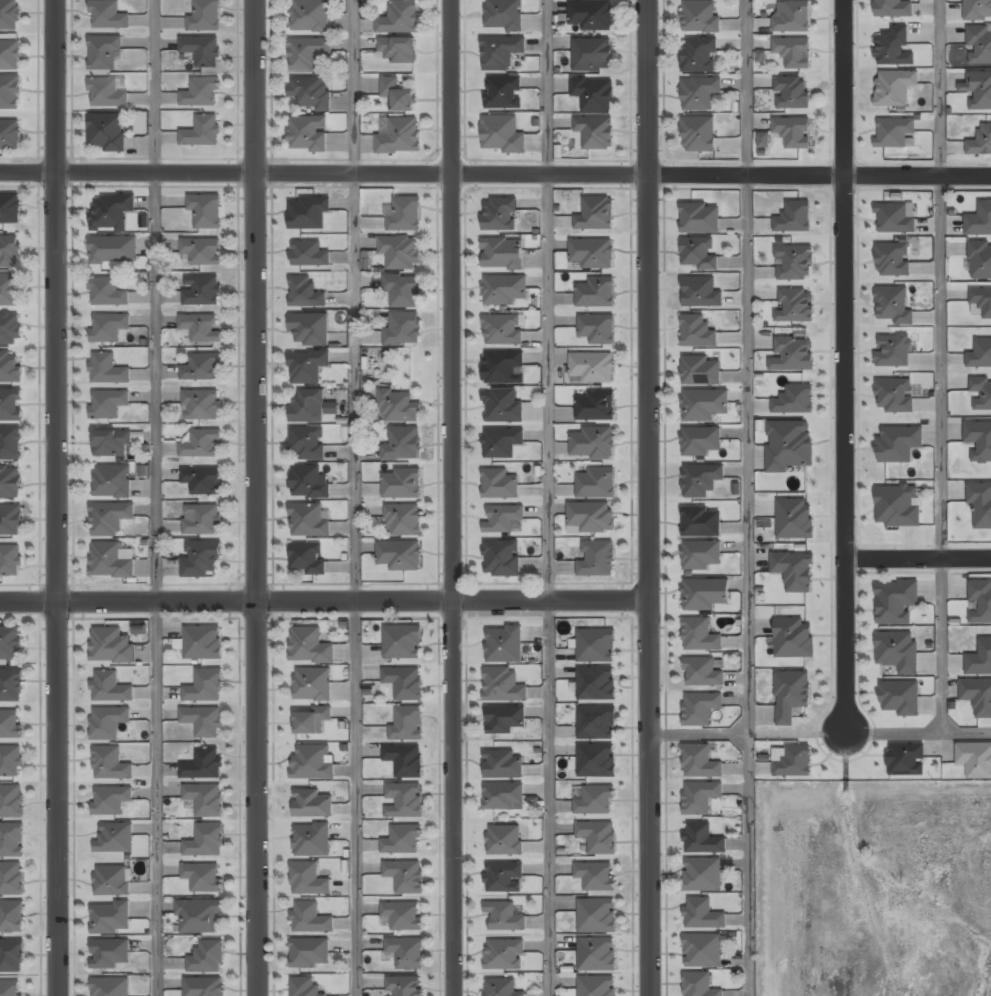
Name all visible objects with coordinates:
building: (893, 9)
building: (977, 9)
building: (9, 15)
building: (108, 15)
building: (508, 15)
building: (591, 15)
building: (206, 16)
building: (310, 16)
building: (699, 17)
building: (792, 17)
building: (400, 19)
building: (979, 45)
building: (893, 48)
building: (202, 50)
building: (398, 50)
building: (507, 52)
building: (793, 52)
building: (308, 54)
building: (593, 54)
building: (10, 55)
building: (698, 56)
building: (102, 62)
building: (894, 88)
building: (978, 90)
building: (201, 92)
building: (10, 93)
building: (311, 93)
building: (508, 93)
building: (593, 93)
building: (698, 93)
building: (791, 93)
building: (106, 94)
building: (397, 94)
building: (142, 123)
building: (202, 132)
building: (595, 132)
building: (793, 132)
building: (894, 132)
building: (106, 133)
building: (308, 133)
building: (399, 134)
building: (698, 134)
building: (10, 135)
building: (508, 135)
building: (763, 140)
building: (980, 142)
road: (495, 171)
building: (10, 209)
building: (206, 211)
building: (110, 213)
building: (308, 213)
building: (501, 214)
building: (595, 214)
building: (404, 215)
building: (794, 217)
building: (700, 218)
building: (894, 219)
building: (979, 220)
building: (112, 251)
building: (9, 252)
building: (201, 253)
building: (401, 253)
building: (502, 253)
building: (591, 253)
building: (309, 254)
building: (698, 254)
building: (893, 259)
building: (980, 260)
building: (794, 261)
building: (508, 289)
building: (403, 290)
building: (10, 291)
building: (201, 291)
building: (108, 292)
building: (305, 293)
building: (595, 293)
building: (700, 293)
building: (981, 300)
building: (894, 305)
building: (795, 306)
building: (108, 327)
building: (200, 328)
building: (10, 329)
building: (403, 329)
building: (505, 329)
building: (597, 329)
building: (310, 330)
building: (697, 332)
building: (893, 351)
building: (980, 354)
building: (792, 355)
building: (509, 366)
building: (592, 366)
road: (848, 366)
building: (307, 367)
road: (939, 367)
building: (11, 368)
building: (202, 368)
building: (107, 370)
building: (701, 372)
building: (981, 392)
building: (894, 395)
building: (794, 400)
building: (108, 404)
building: (11, 405)
building: (596, 405)
building: (201, 406)
building: (308, 406)
building: (508, 406)
building: (703, 406)
building: (398, 407)
building: (979, 440)
building: (507, 442)
building: (700, 442)
building: (112, 443)
building: (306, 443)
building: (592, 443)
building: (11, 444)
building: (402, 444)
building: (898, 444)
building: (201, 445)
building: (789, 445)
building: (700, 480)
building: (202, 481)
building: (11, 482)
building: (111, 482)
building: (309, 482)
building: (596, 483)
building: (403, 484)
building: (506, 485)
road: (53, 497)
road: (257, 497)
road: (354, 497)
road: (451, 497)
road: (547, 497)
road: (154, 498)
road: (648, 498)
road: (744, 498)
building: (980, 504)
building: (897, 506)
building: (590, 516)
building: (507, 518)
building: (794, 518)
building: (109, 519)
building: (11, 520)
building: (202, 520)
building: (403, 520)
building: (308, 521)
building: (701, 523)
building: (400, 555)
road: (919, 555)
building: (701, 556)
building: (307, 558)
building: (502, 559)
building: (596, 559)
building: (200, 560)
building: (10, 561)
building: (110, 561)
building: (794, 570)
building: (704, 595)
building: (980, 601)
road: (324, 602)
building: (894, 602)
building: (698, 635)
building: (793, 638)
building: (402, 642)
building: (508, 643)
building: (203, 644)
building: (10, 645)
building: (111, 645)
building: (596, 645)
building: (310, 646)
building: (896, 652)
building: (979, 659)
building: (702, 673)
building: (404, 682)
building: (596, 683)
building: (11, 685)
building: (312, 685)
building: (504, 685)
building: (204, 687)
building: (110, 688)
building: (790, 695)
building: (978, 697)
building: (899, 698)
building: (699, 708)
building: (504, 719)
building: (311, 721)
building: (108, 722)
building: (596, 722)
building: (406, 724)
building: (10, 725)
road: (820, 732)
building: (207, 733)
building: (975, 759)
building: (404, 760)
building: (596, 760)
building: (906, 760)
building: (10, 761)
building: (793, 761)
building: (700, 762)
building: (312, 763)
building: (111, 764)
building: (503, 764)
building: (203, 765)
building: (503, 795)
building: (700, 796)
building: (205, 799)
building: (111, 800)
building: (404, 800)
building: (595, 800)
building: (10, 802)
building: (312, 805)
building: (598, 836)
building: (123, 839)
building: (402, 839)
building: (701, 839)
building: (312, 840)
building: (504, 840)
building: (11, 841)
building: (191, 849)
building: (404, 875)
building: (702, 875)
building: (594, 876)
building: (202, 877)
building: (503, 877)
building: (11, 879)
building: (308, 879)
building: (112, 881)
building: (702, 914)
building: (199, 915)
building: (596, 915)
building: (401, 916)
building: (505, 916)
building: (12, 917)
building: (110, 917)
building: (324, 925)
building: (702, 950)
building: (110, 953)
building: (310, 953)
building: (406, 953)
building: (505, 955)
building: (597, 955)
building: (9, 957)
building: (207, 957)
building: (700, 985)
building: (204, 986)
building: (404, 986)
building: (597, 986)
building: (111, 987)
building: (304, 987)
building: (506, 987)
building: (10, 989)

